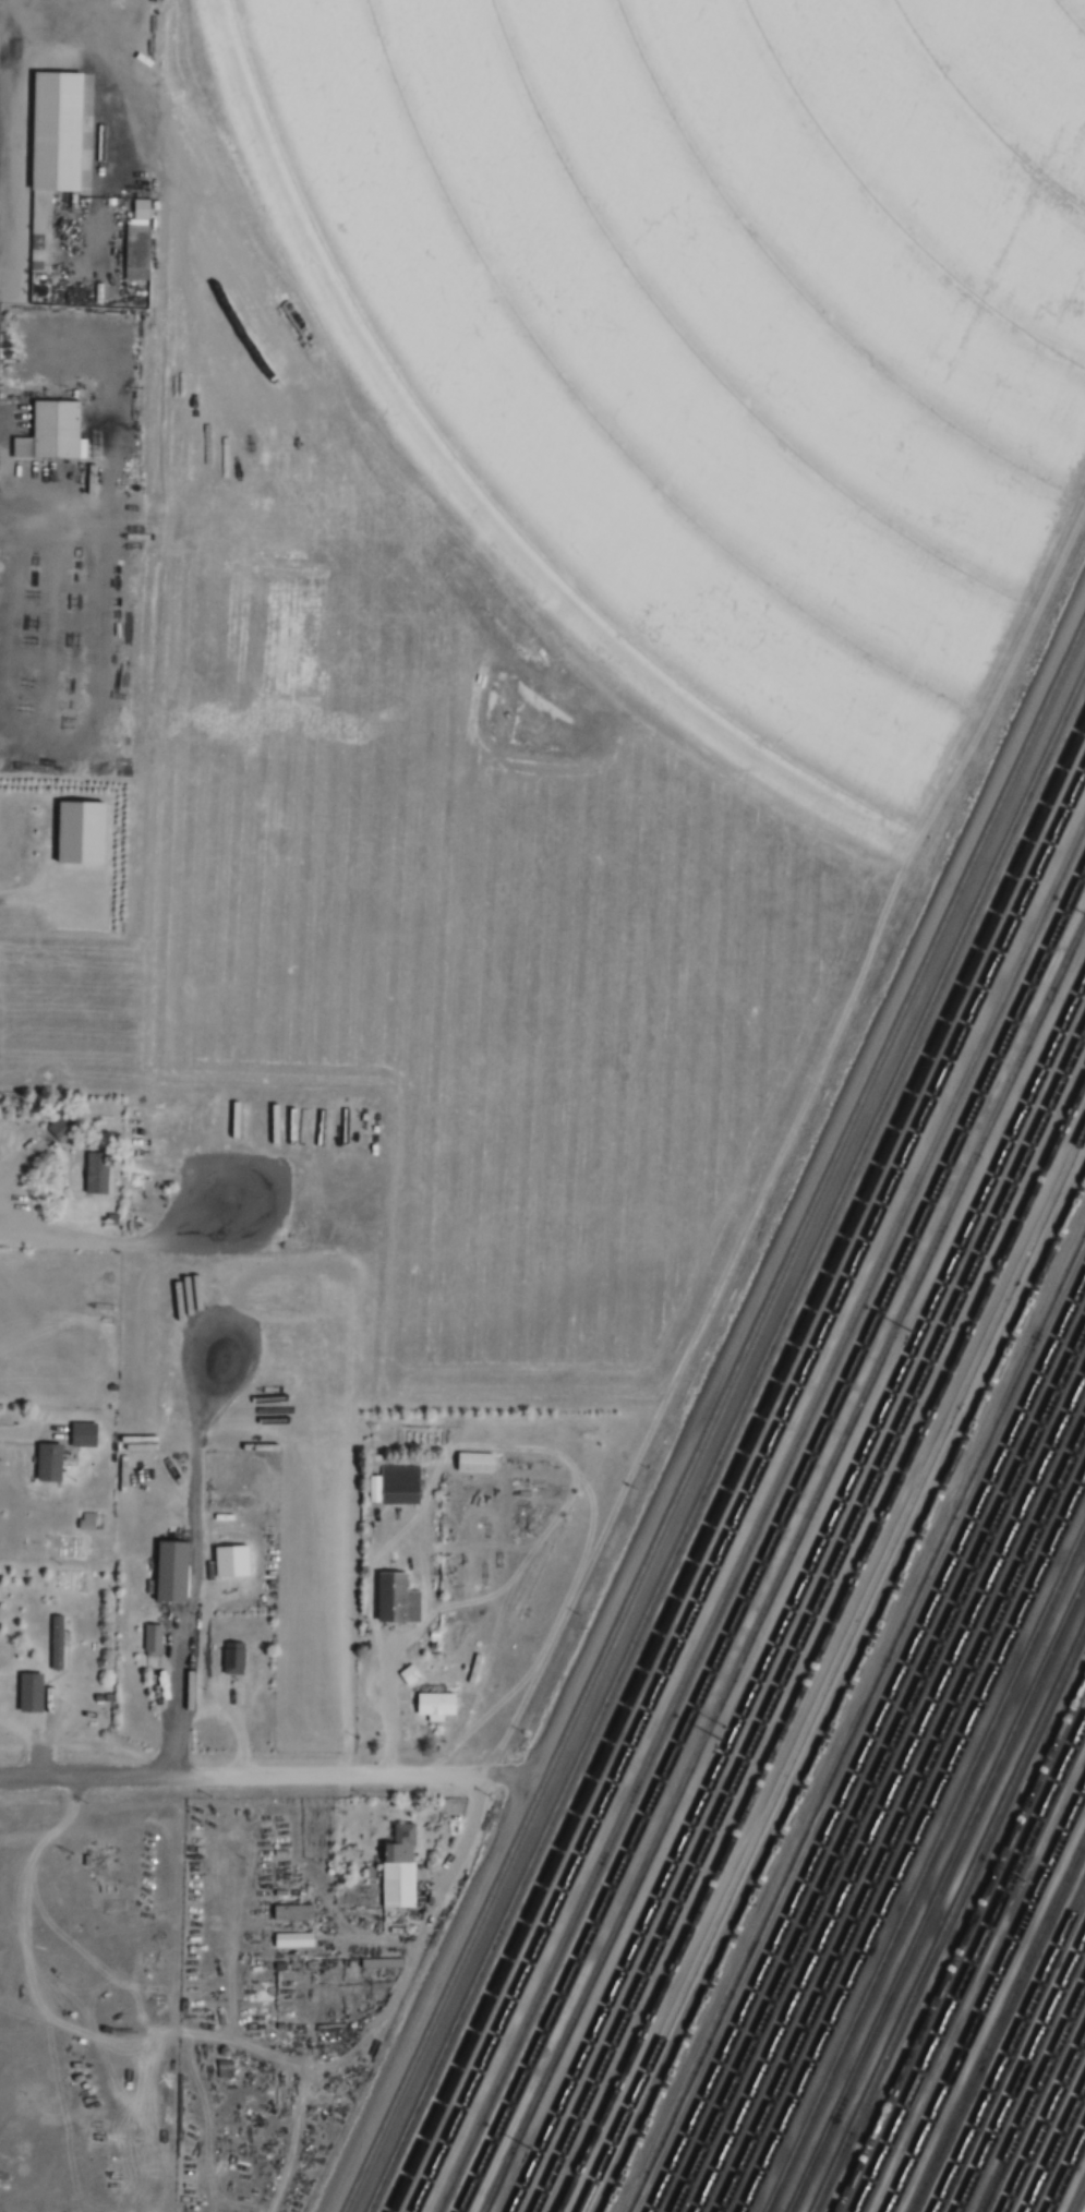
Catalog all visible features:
building: (57, 144)
building: (53, 431)
building: (882, 1079)
building: (61, 1128)
road: (27, 1169)
building: (79, 1174)
road: (805, 1175)
railway: (716, 1419)
road: (24, 1433)
building: (86, 1433)
railway: (727, 1446)
building: (52, 1460)
building: (477, 1462)
railway: (736, 1466)
building: (397, 1484)
railway: (749, 1490)
building: (1078, 1507)
railway: (760, 1513)
railway: (771, 1537)
railway: (784, 1564)
building: (173, 1570)
railway: (797, 1592)
building: (399, 1597)
railway: (809, 1619)
building: (154, 1639)
building: (57, 1642)
railway: (821, 1644)
building: (236, 1657)
railway: (831, 1668)
building: (411, 1673)
building: (33, 1691)
railway: (844, 1696)
road: (390, 1700)
building: (438, 1704)
railway: (854, 1718)
railway: (867, 1745)
railway: (878, 1768)
road: (238, 1774)
road: (501, 1774)
railway: (890, 1794)
railway: (902, 1818)
railway: (914, 1844)
building: (402, 1867)
railway: (925, 1868)
railway: (937, 1894)
building: (296, 1912)
railway: (948, 1916)
building: (296, 1939)
railway: (960, 1941)
railway: (968, 1962)
road: (425, 1993)
railway: (986, 1997)
building: (1053, 2003)
road: (386, 2006)
railway: (998, 2025)
railway: (1009, 2051)
building: (226, 2069)
railway: (1022, 2077)
railway: (1033, 2100)
railway: (1044, 2124)
railway: (1054, 2148)
railway: (1065, 2171)
railway: (1077, 2197)

